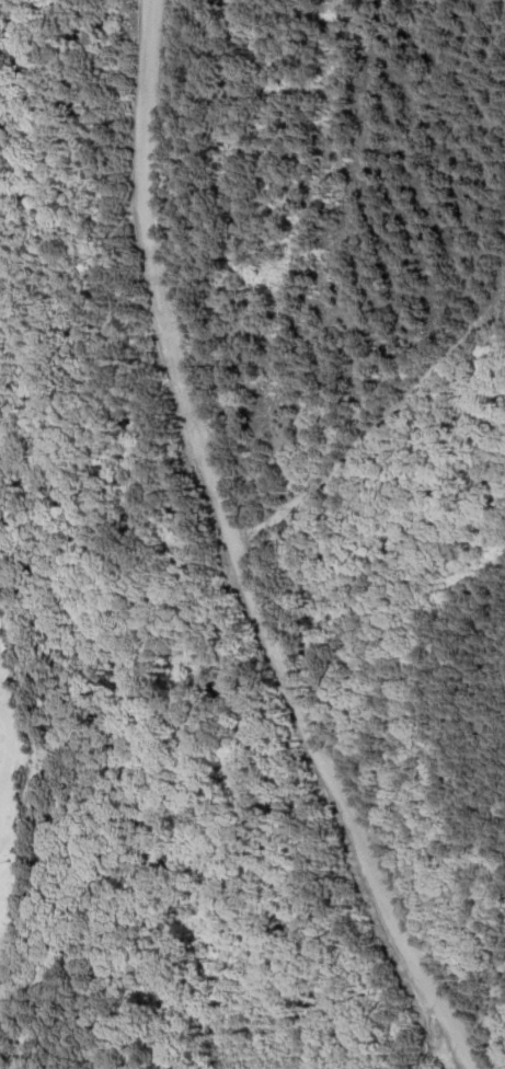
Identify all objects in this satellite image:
road: (232, 554)

